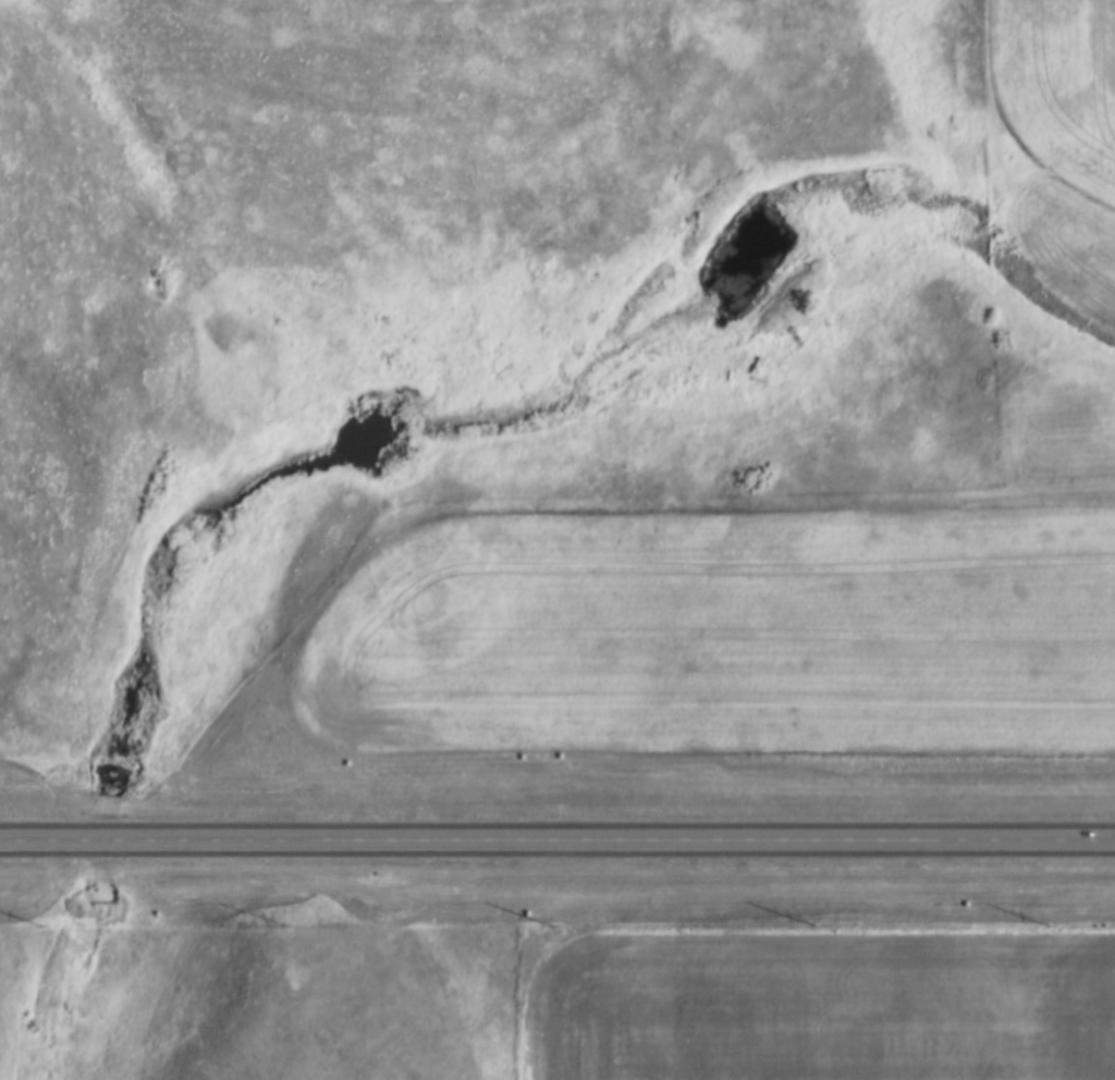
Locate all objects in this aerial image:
road: (556, 837)

